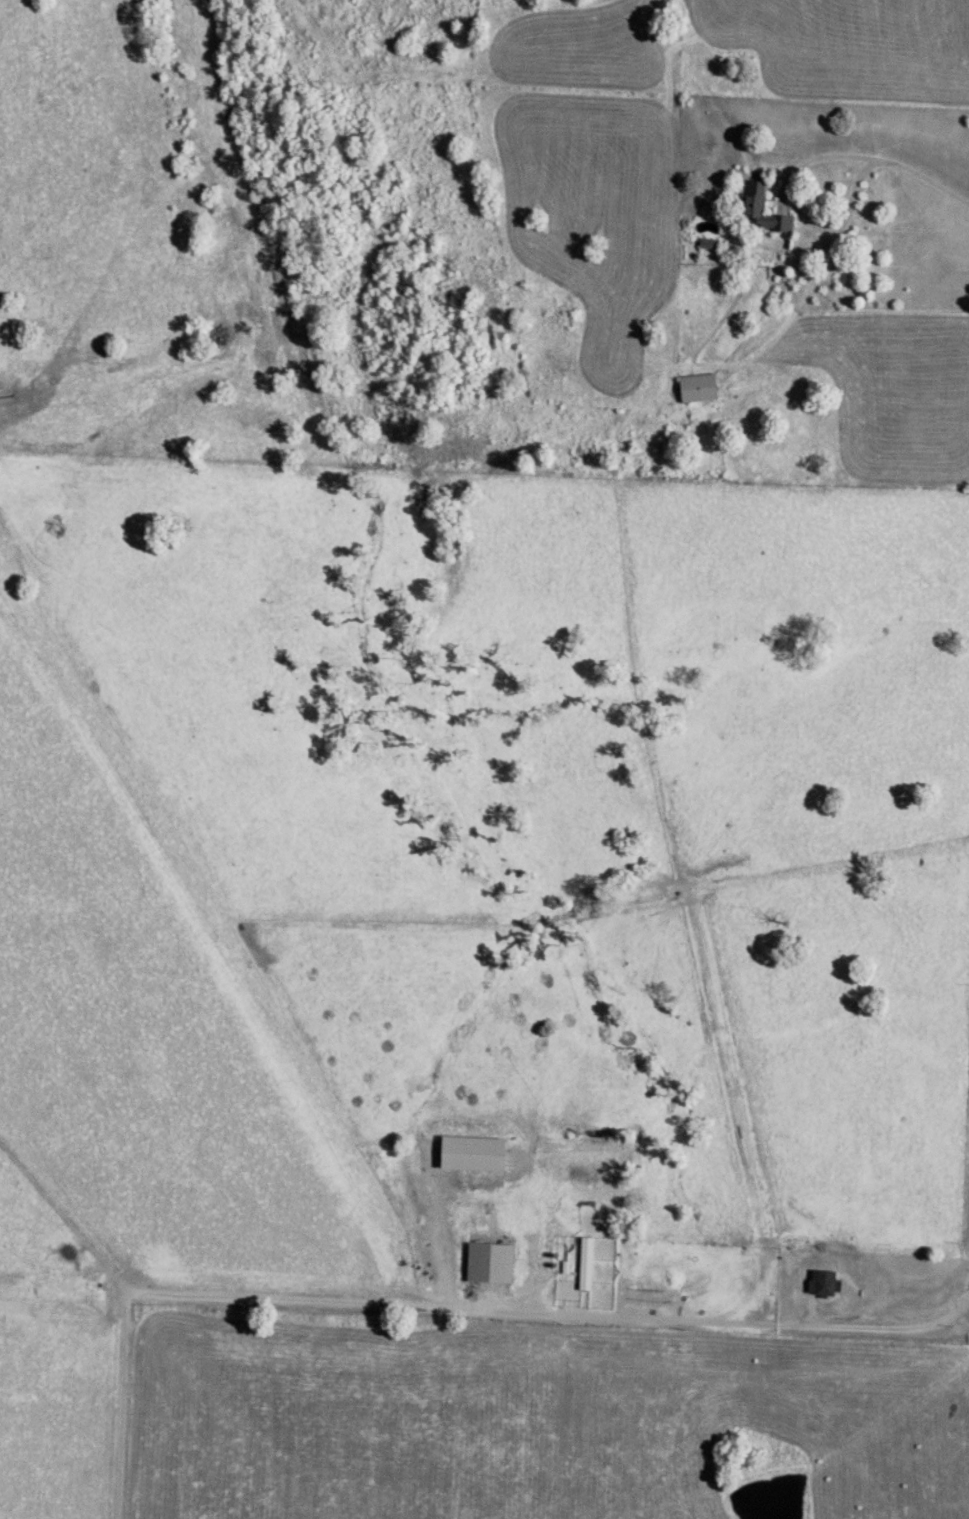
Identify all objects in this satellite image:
road: (926, 181)
building: (761, 215)
road: (849, 225)
building: (694, 392)
building: (664, 1282)
building: (824, 1286)
road: (556, 1318)
road: (119, 1407)

